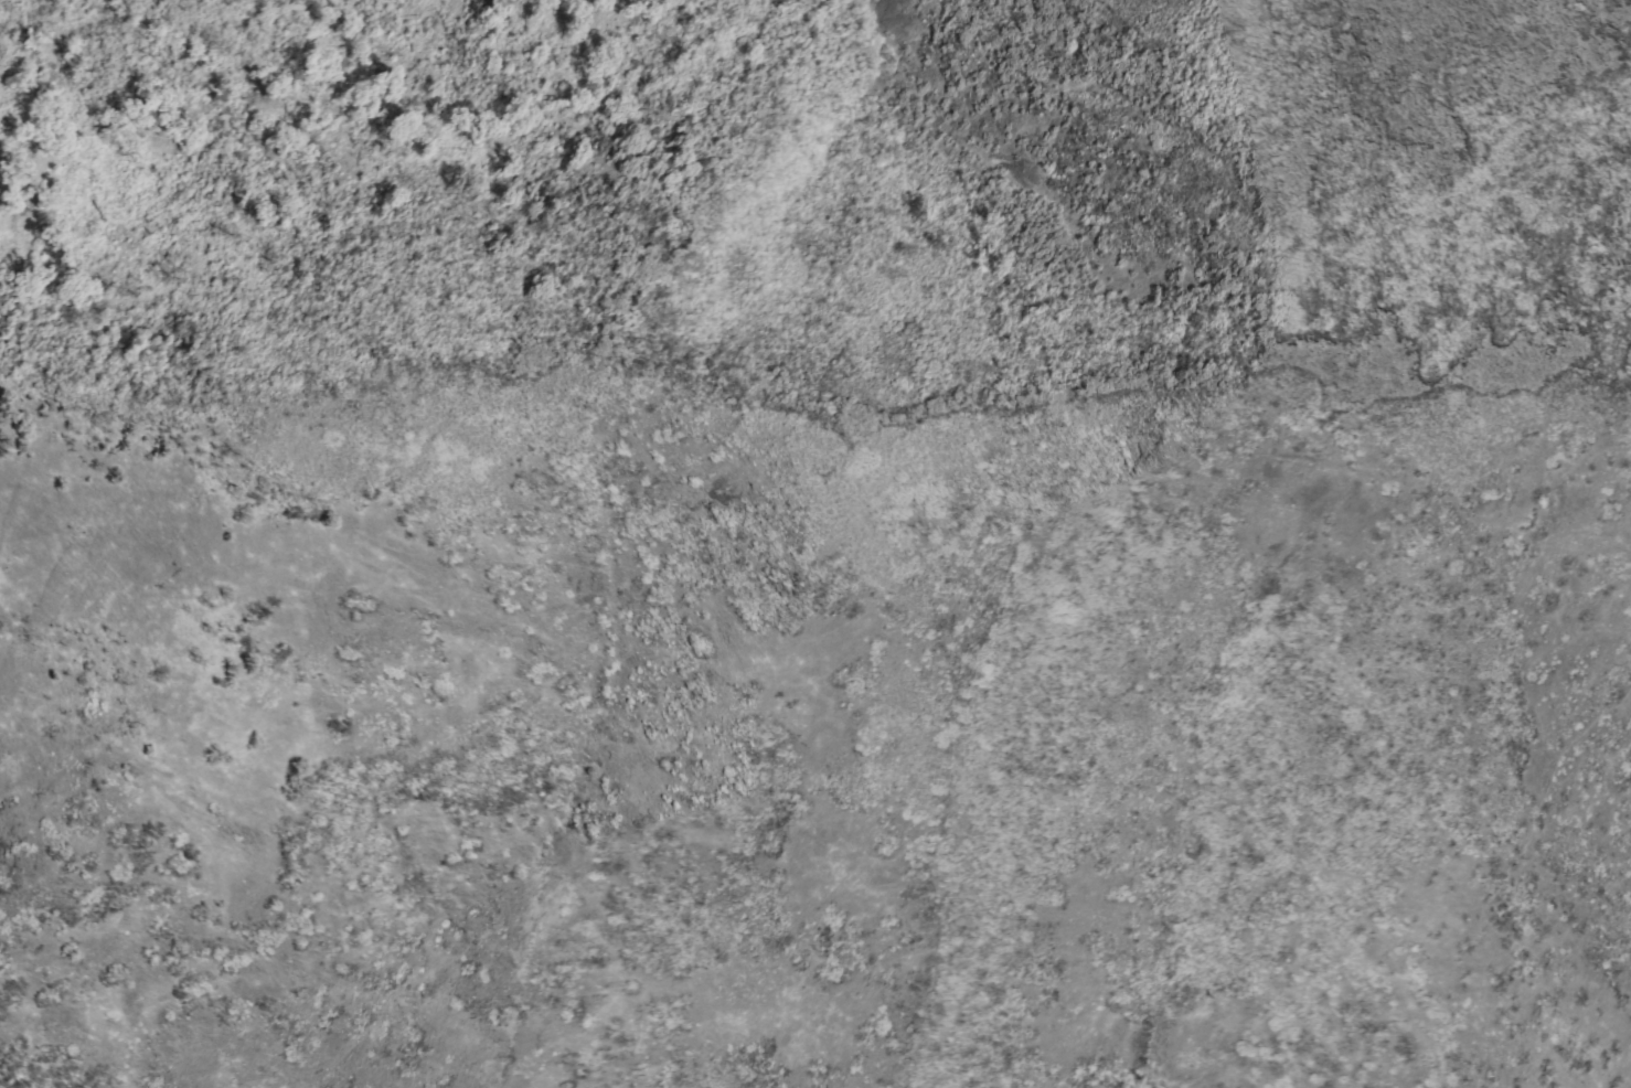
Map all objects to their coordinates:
road: (1463, 771)

